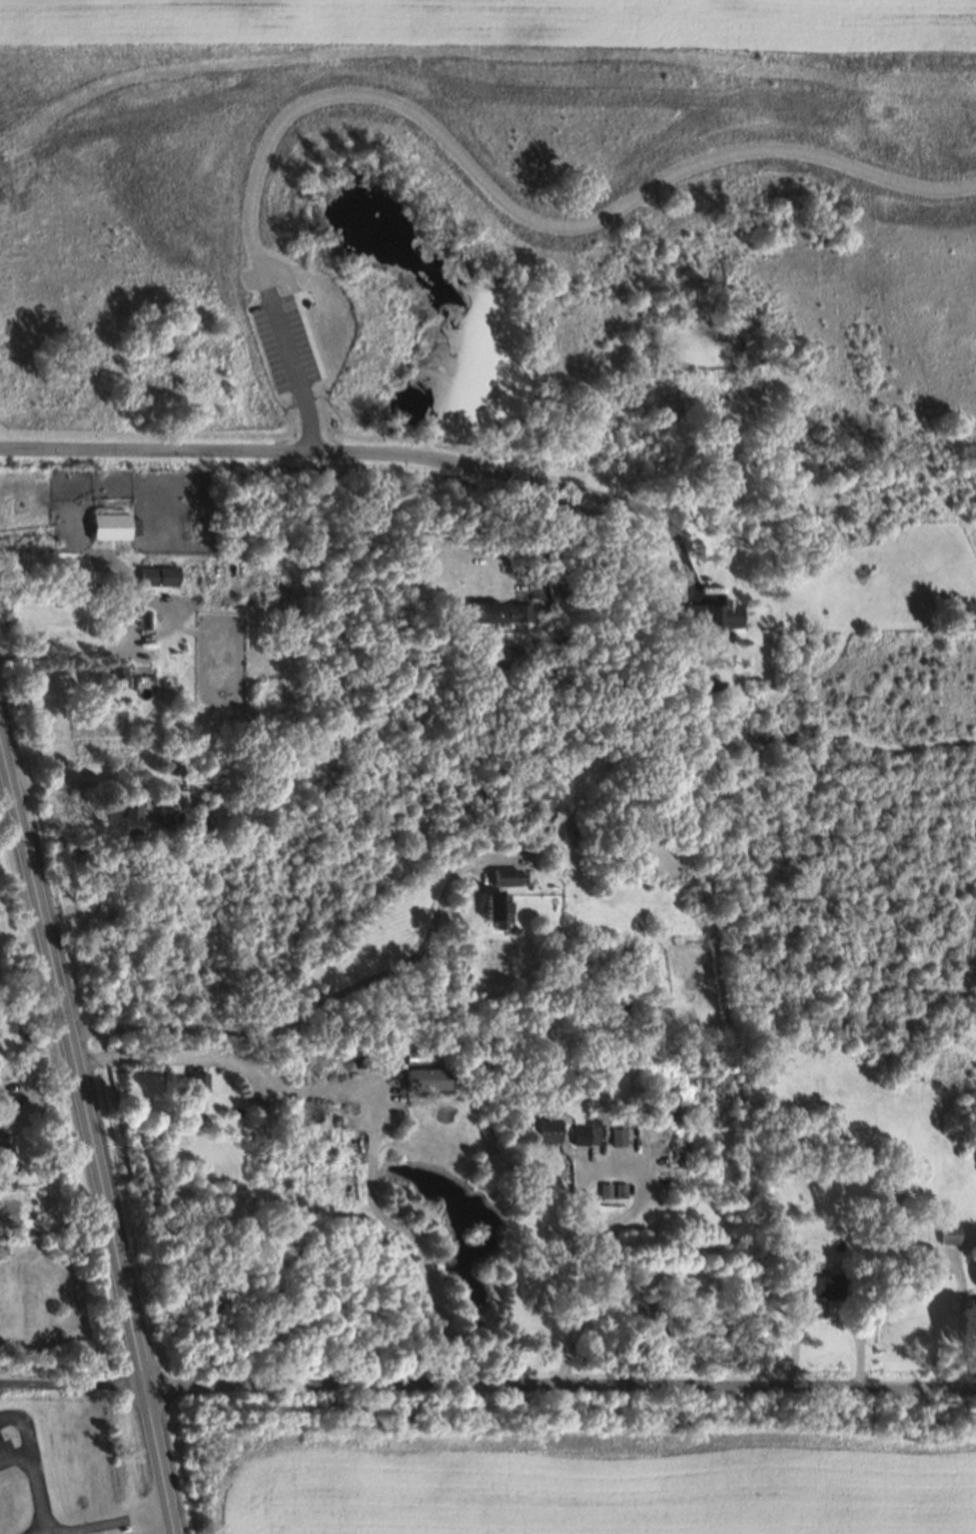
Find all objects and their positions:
road: (459, 155)
road: (253, 250)
parking lot: (284, 343)
road: (295, 378)
road: (345, 454)
building: (111, 527)
road: (548, 545)
building: (158, 576)
road: (163, 603)
building: (502, 613)
building: (711, 615)
road: (66, 653)
building: (118, 676)
building: (174, 766)
road: (87, 786)
building: (129, 818)
building: (562, 831)
building: (507, 877)
road: (18, 894)
building: (496, 909)
road: (326, 1003)
building: (427, 1079)
building: (197, 1081)
road: (383, 1096)
road: (374, 1101)
building: (257, 1102)
building: (547, 1131)
road: (91, 1134)
building: (587, 1134)
building: (619, 1137)
building: (4, 1147)
building: (606, 1190)
road: (582, 1191)
building: (621, 1191)
building: (896, 1197)
building: (949, 1236)
building: (926, 1256)
building: (816, 1287)
building: (972, 1307)
road: (825, 1316)
road: (961, 1335)
road: (72, 1383)
road: (560, 1384)
road: (10, 1417)
road: (12, 1453)
road: (30, 1475)
road: (102, 1520)

